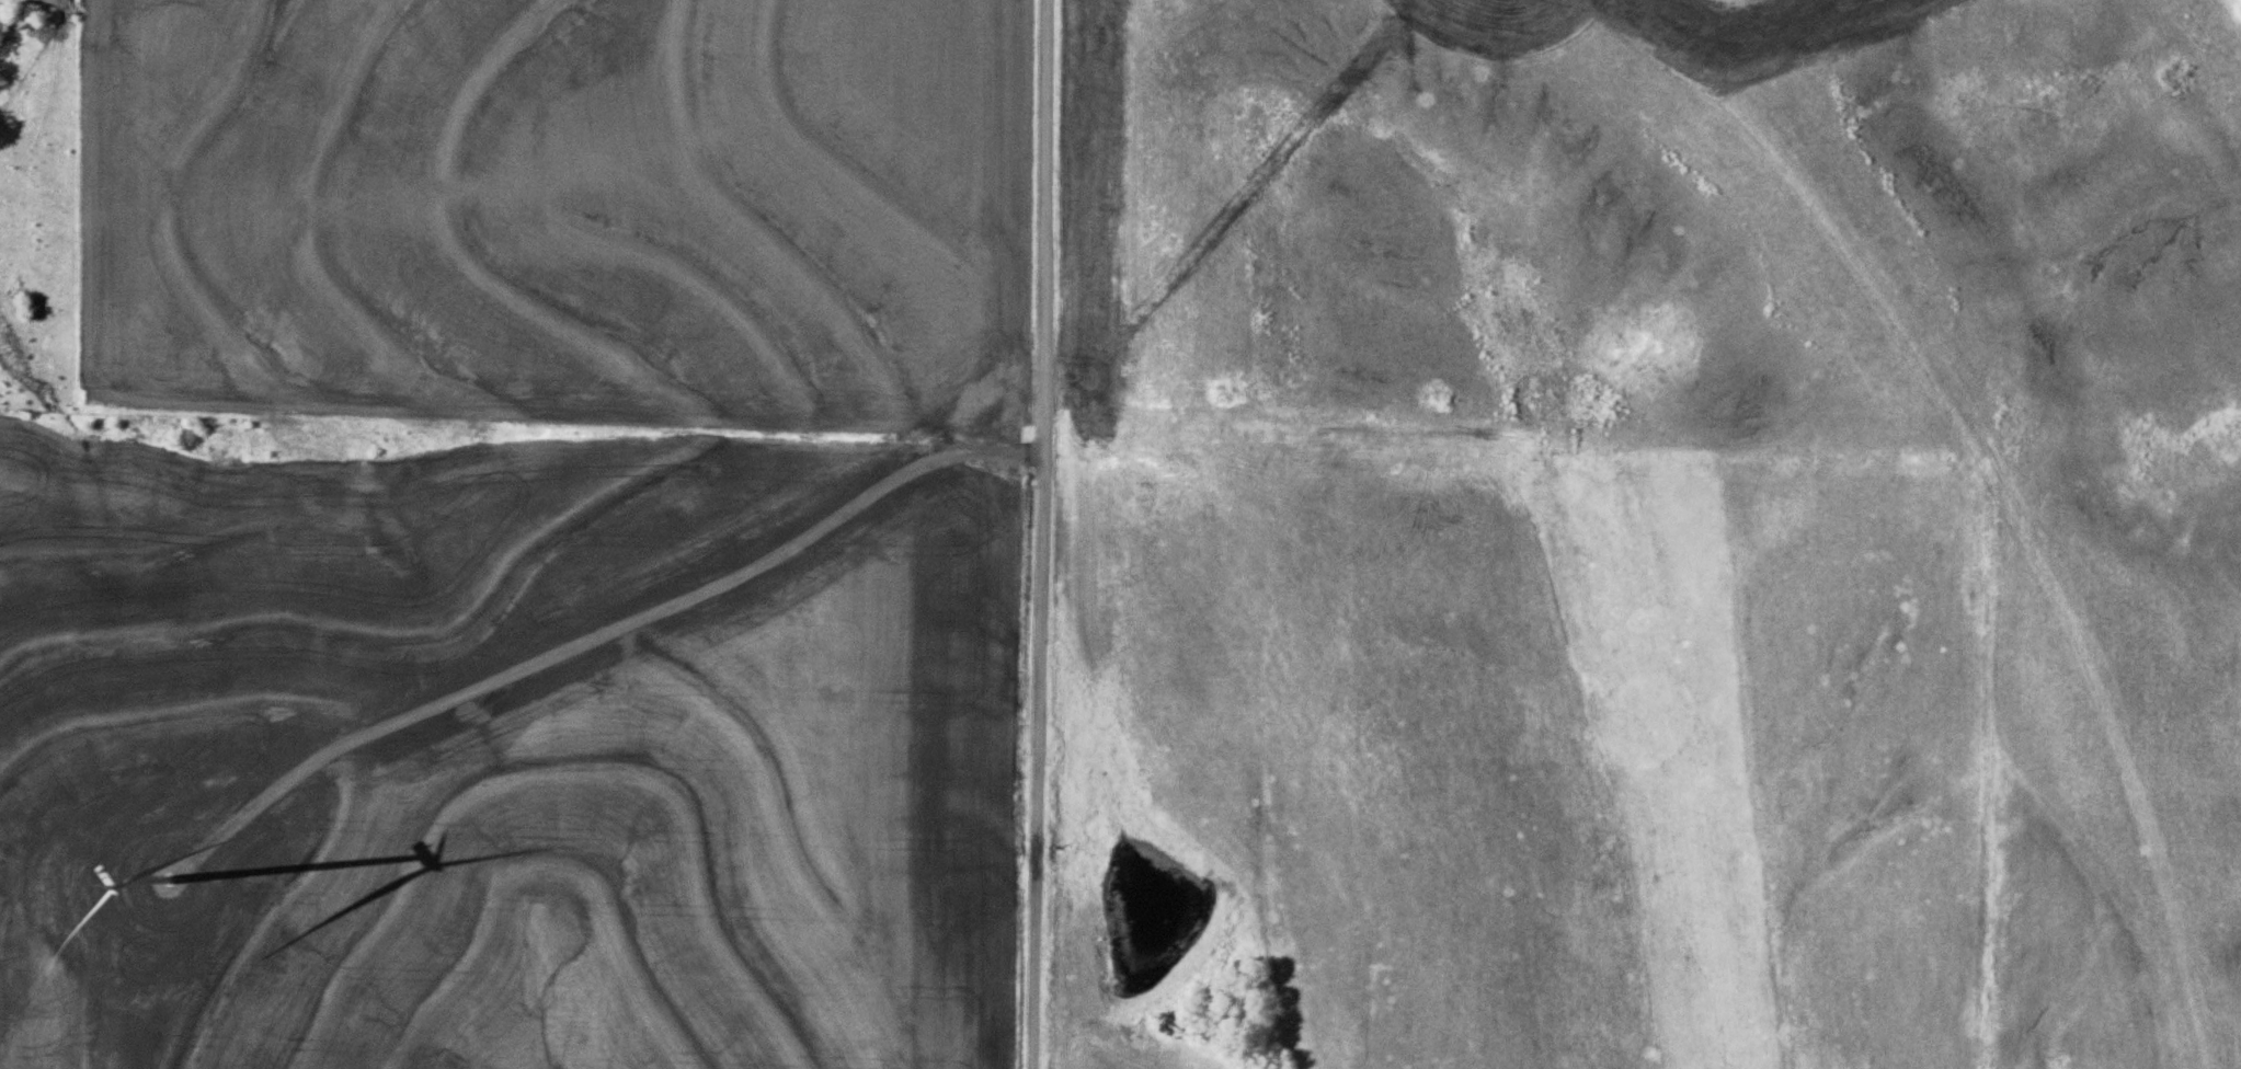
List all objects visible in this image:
road: (1037, 534)
wind turbine: (163, 880)

